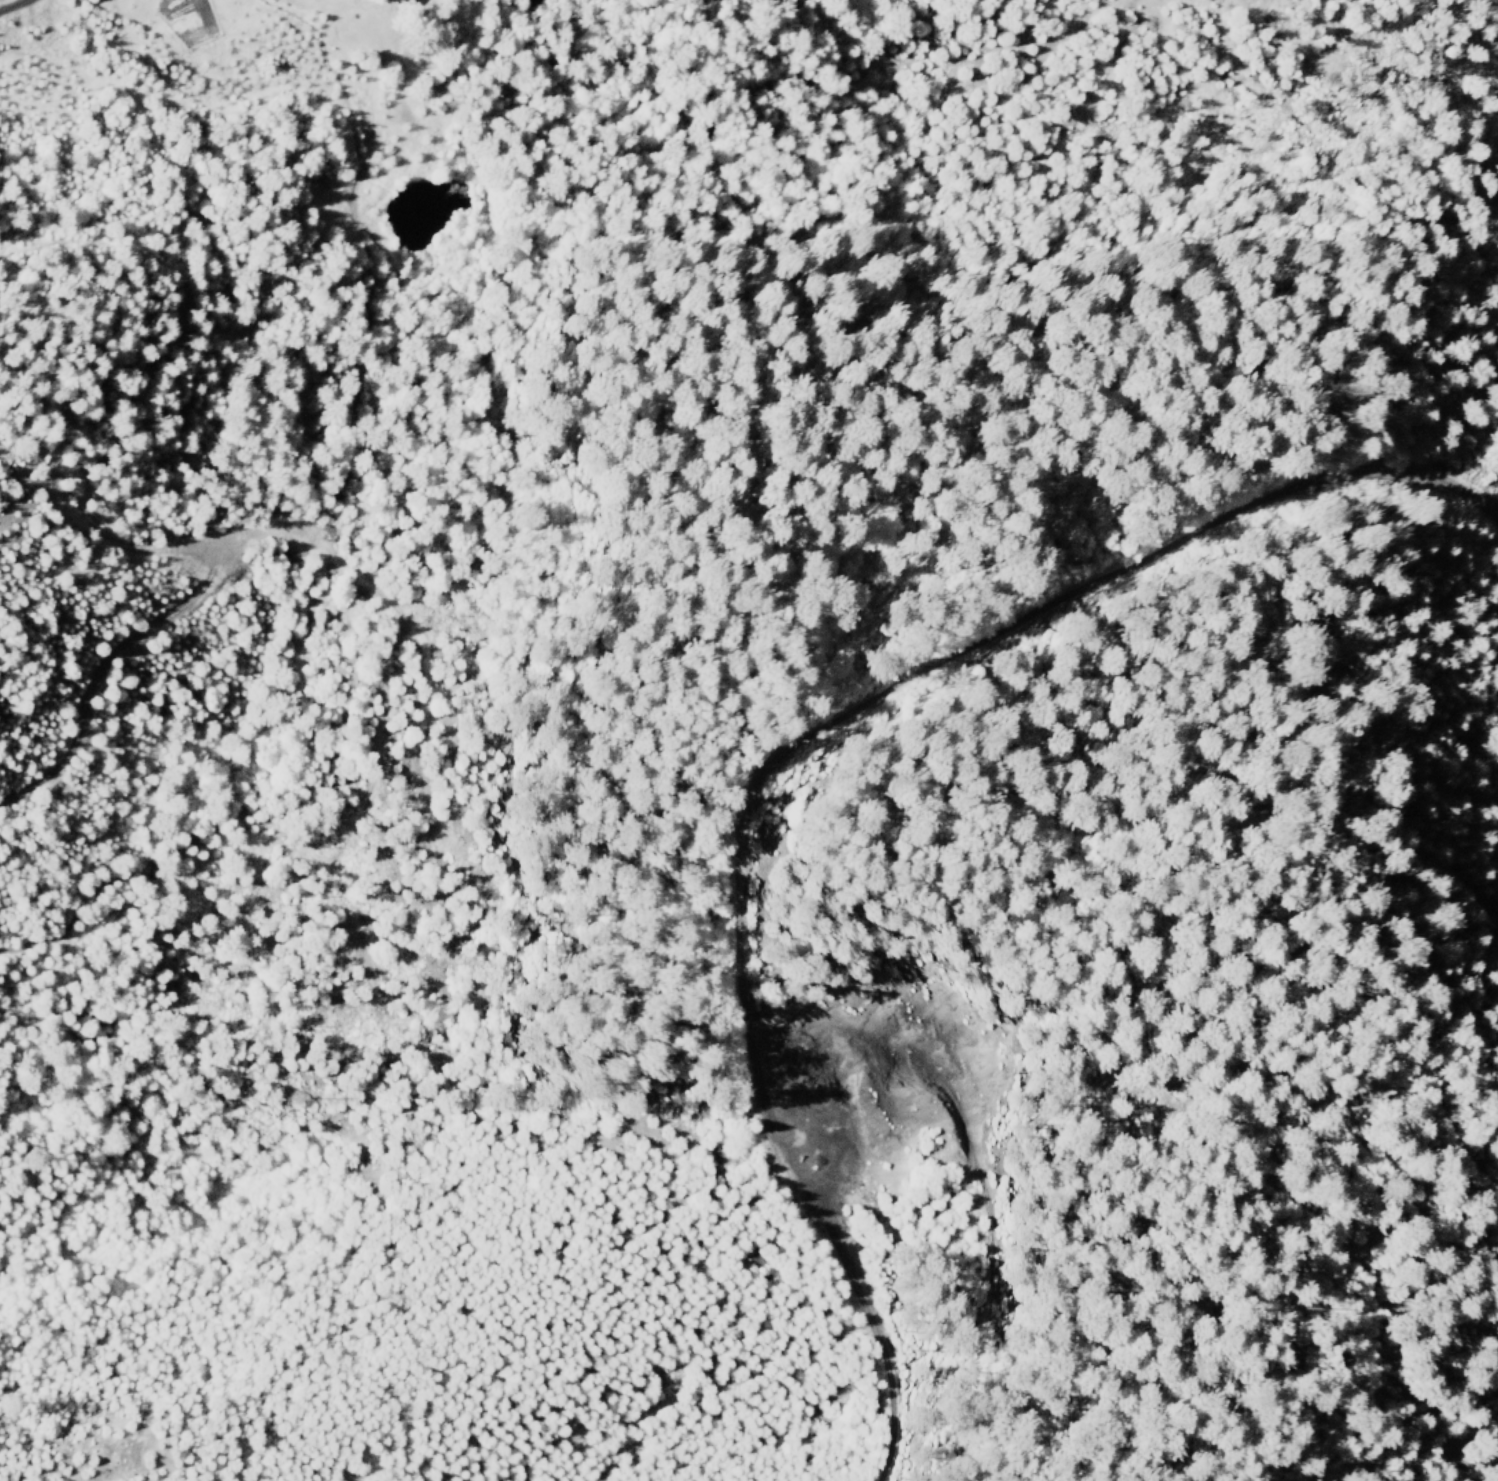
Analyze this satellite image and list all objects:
road: (800, 751)

